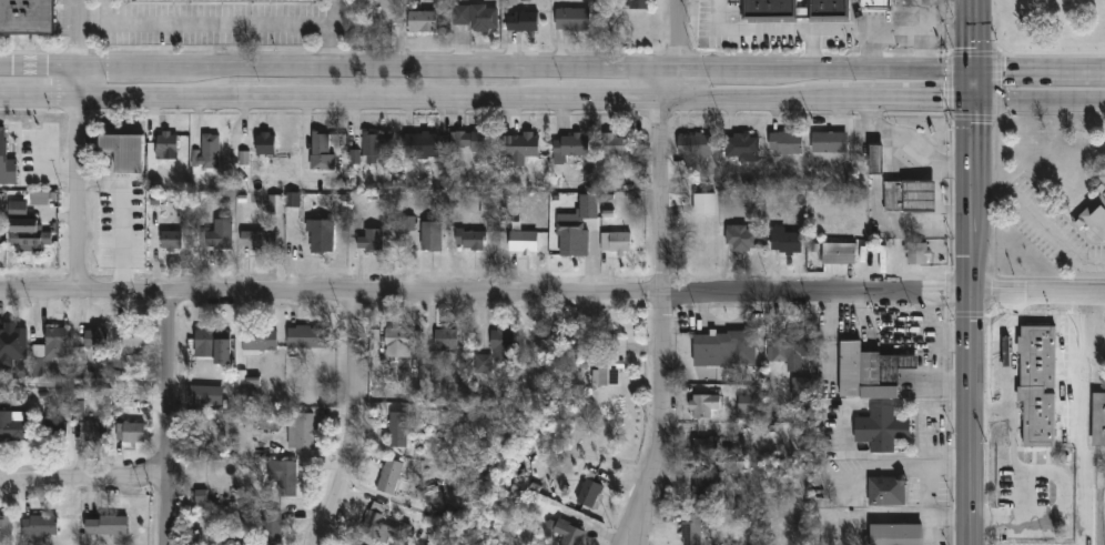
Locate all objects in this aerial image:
building: (638, 4)
building: (873, 6)
building: (768, 11)
building: (828, 11)
building: (26, 18)
building: (476, 19)
building: (929, 20)
building: (572, 21)
building: (420, 22)
building: (521, 22)
road: (209, 24)
road: (763, 31)
road: (332, 34)
road: (893, 37)
road: (676, 38)
traffic signals: (974, 49)
road: (809, 51)
road: (1000, 52)
road: (973, 53)
road: (918, 54)
road: (1024, 55)
road: (39, 68)
road: (131, 68)
road: (423, 69)
road: (716, 71)
road: (871, 72)
traffic signals: (1004, 72)
road: (1040, 72)
road: (661, 84)
road: (949, 85)
road: (997, 85)
road: (39, 95)
road: (327, 98)
road: (619, 99)
road: (748, 99)
road: (850, 100)
road: (919, 100)
traffic signals: (942, 100)
road: (1040, 101)
road: (973, 117)
traffic signals: (974, 127)
building: (472, 143)
road: (78, 144)
building: (829, 144)
building: (2, 145)
building: (264, 145)
building: (785, 145)
building: (166, 147)
building: (377, 148)
building: (520, 148)
building: (615, 148)
building: (695, 148)
building: (741, 148)
building: (420, 149)
building: (569, 149)
building: (210, 152)
building: (123, 153)
building: (322, 153)
road: (906, 153)
building: (244, 158)
building: (875, 161)
road: (939, 194)
building: (909, 198)
building: (39, 199)
building: (293, 200)
building: (275, 205)
building: (703, 205)
building: (18, 208)
building: (488, 208)
building: (1096, 210)
road: (1043, 215)
road: (886, 221)
road: (955, 221)
building: (577, 229)
building: (219, 236)
building: (403, 236)
building: (26, 238)
building: (430, 238)
building: (320, 239)
building: (741, 240)
building: (171, 242)
building: (257, 242)
building: (371, 242)
building: (472, 243)
building: (521, 243)
building: (784, 243)
building: (615, 244)
building: (838, 255)
building: (916, 255)
road: (971, 272)
road: (485, 296)
road: (1037, 296)
road: (662, 323)
road: (1078, 331)
building: (13, 339)
building: (308, 339)
building: (95, 340)
building: (212, 341)
building: (258, 341)
building: (445, 341)
building: (55, 343)
building: (133, 343)
building: (397, 344)
building: (501, 345)
building: (791, 346)
building: (723, 351)
building: (581, 364)
building: (608, 365)
building: (869, 374)
building: (1036, 384)
building: (803, 390)
building: (201, 396)
road: (1008, 402)
building: (746, 404)
road: (913, 404)
building: (703, 407)
building: (79, 408)
road: (990, 414)
road: (168, 418)
building: (1098, 418)
building: (268, 423)
road: (354, 423)
building: (12, 427)
road: (849, 430)
building: (397, 431)
building: (880, 431)
building: (55, 432)
building: (301, 432)
building: (94, 433)
building: (129, 434)
building: (700, 450)
road: (913, 456)
road: (902, 473)
building: (388, 477)
building: (287, 480)
road: (1083, 480)
road: (83, 482)
building: (707, 487)
building: (886, 493)
building: (588, 495)
building: (201, 498)
road: (902, 517)
road: (630, 519)
building: (105, 527)
building: (40, 528)
building: (272, 528)
building: (378, 528)
building: (690, 529)
building: (6, 531)
building: (568, 534)
building: (894, 535)

